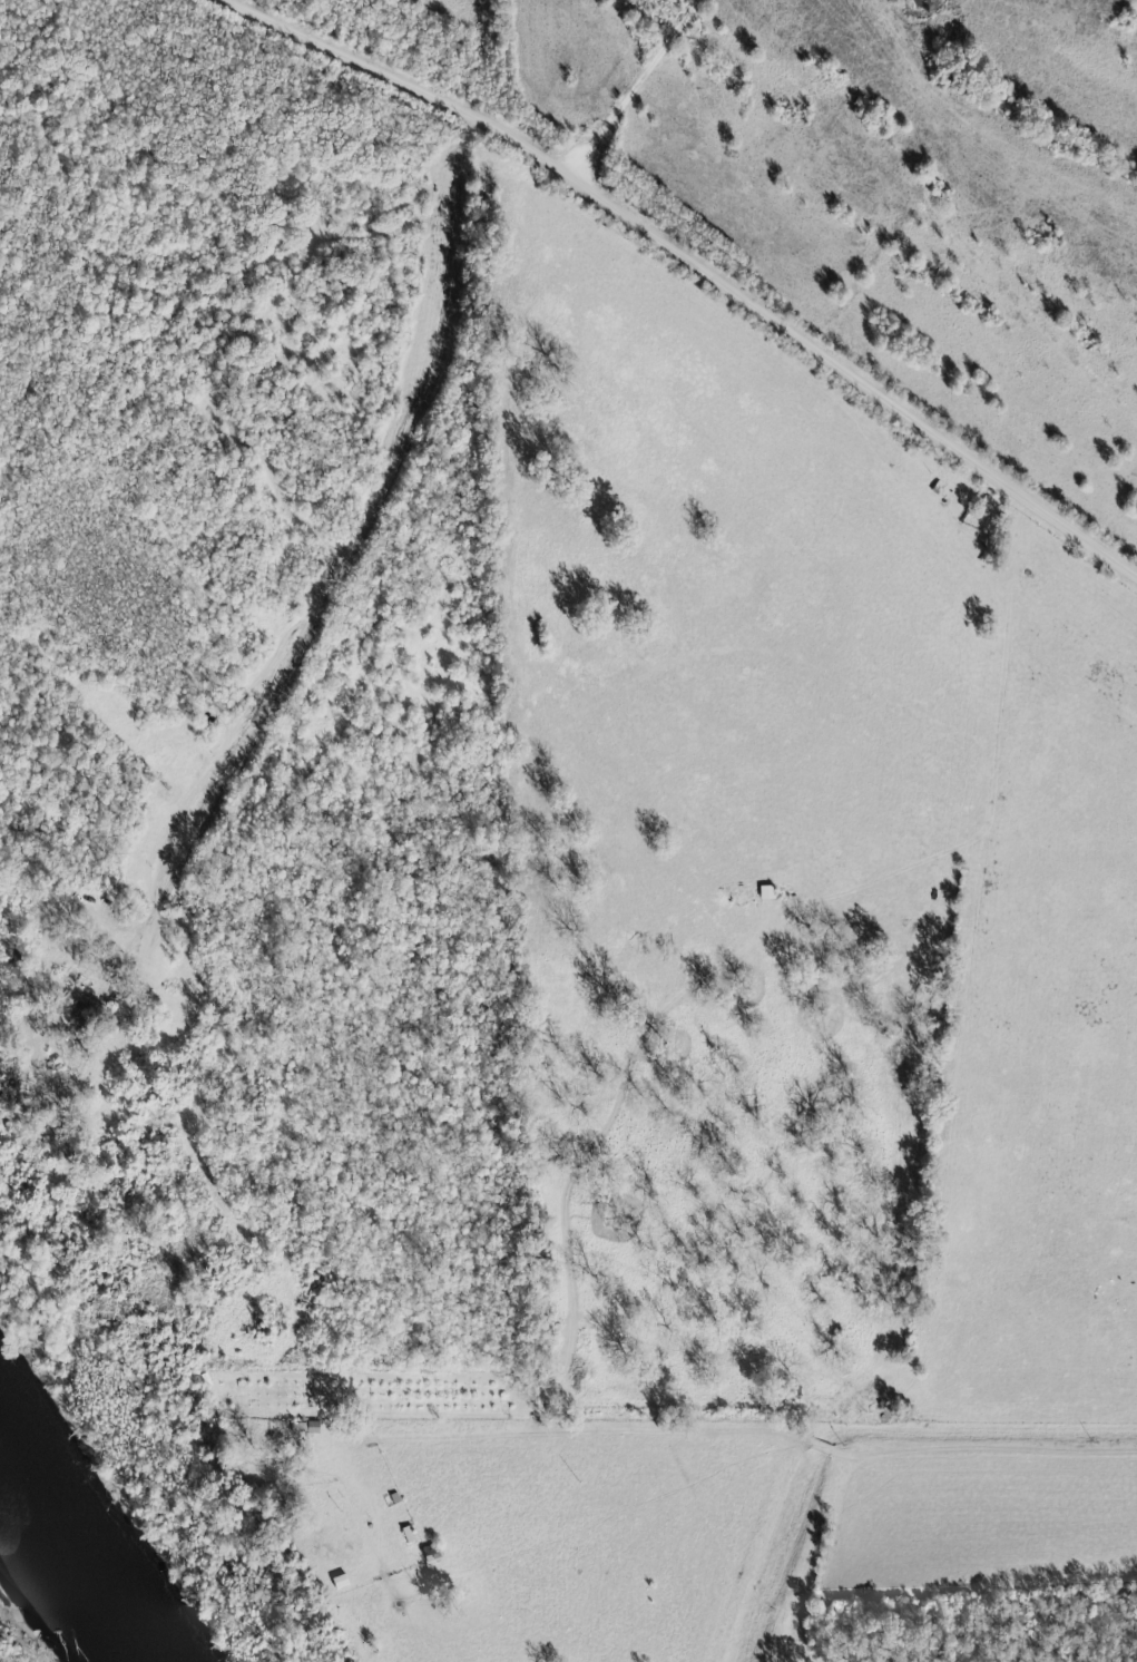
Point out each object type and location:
road: (699, 265)
road: (350, 563)
building: (767, 892)
road: (741, 1429)
building: (409, 1535)
river: (71, 1557)
road: (673, 1561)

